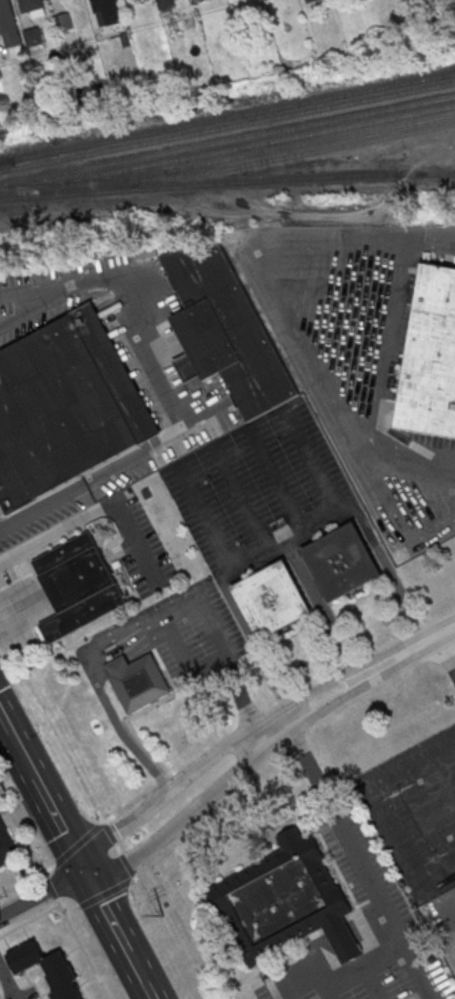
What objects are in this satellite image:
building: (196, 1)
building: (310, 1)
building: (164, 2)
building: (31, 6)
building: (107, 9)
building: (62, 21)
building: (8, 24)
building: (32, 35)
railway: (233, 115)
railway: (227, 128)
railway: (227, 141)
railway: (238, 148)
railway: (274, 150)
railway: (6, 160)
railway: (6, 160)
railway: (229, 168)
railway: (227, 181)
road: (240, 198)
road: (55, 286)
road: (281, 291)
building: (226, 332)
road: (146, 347)
building: (431, 358)
building: (66, 408)
road: (45, 507)
parking lot: (44, 514)
road: (92, 515)
road: (315, 524)
road: (258, 554)
building: (343, 562)
road: (390, 570)
building: (79, 585)
road: (202, 600)
building: (273, 600)
road: (29, 606)
road: (322, 606)
road: (192, 608)
road: (140, 621)
road: (162, 623)
road: (164, 627)
road: (107, 633)
parking lot: (199, 634)
road: (252, 636)
road: (111, 641)
road: (418, 644)
road: (115, 647)
road: (448, 648)
road: (138, 649)
road: (183, 650)
road: (117, 663)
building: (117, 664)
road: (99, 671)
building: (140, 682)
road: (191, 683)
road: (240, 694)
road: (127, 718)
road: (117, 724)
road: (55, 730)
road: (266, 733)
road: (221, 750)
road: (162, 775)
road: (236, 775)
road: (42, 792)
road: (129, 804)
road: (387, 809)
parking lot: (415, 811)
road: (21, 831)
road: (110, 833)
building: (6, 843)
road: (76, 843)
road: (118, 849)
road: (127, 863)
road: (365, 864)
traffic signals: (84, 871)
road: (134, 878)
road: (28, 879)
road: (51, 888)
road: (41, 892)
road: (104, 893)
building: (287, 903)
road: (72, 909)
power tower: (164, 917)
road: (29, 919)
parking lot: (408, 923)
road: (117, 934)
road: (83, 948)
road: (454, 952)
building: (48, 968)
road: (346, 970)
road: (369, 982)
road: (8, 983)
road: (326, 989)
road: (273, 991)
parking lot: (265, 992)

